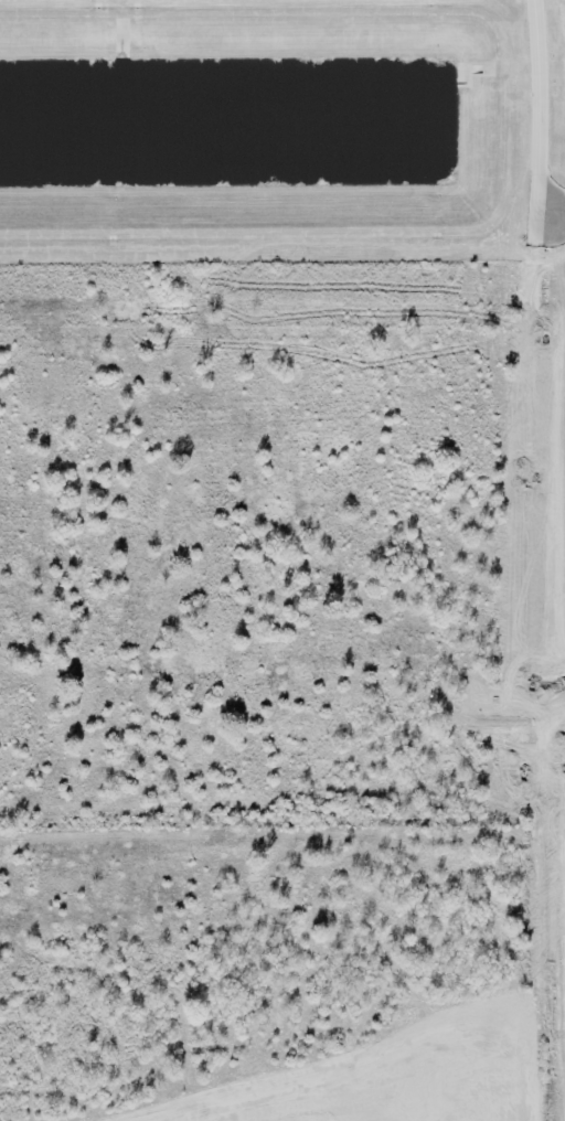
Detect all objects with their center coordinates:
road: (216, 371)
road: (525, 386)
road: (349, 604)
road: (180, 723)

